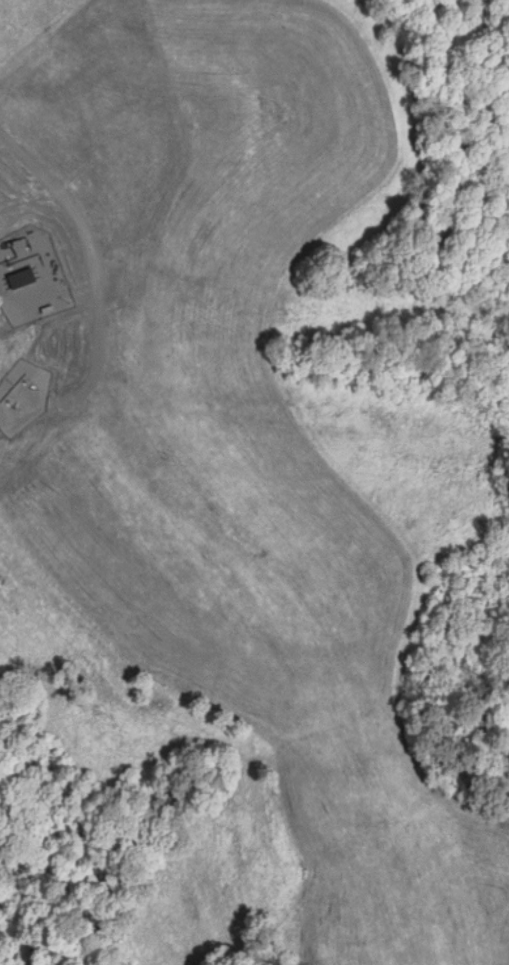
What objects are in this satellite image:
road: (97, 288)

